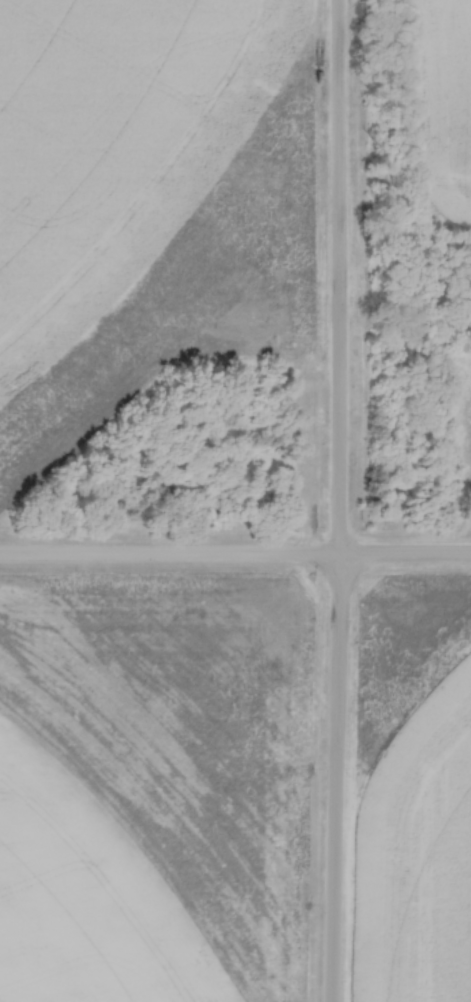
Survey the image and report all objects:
road: (339, 501)
road: (235, 559)

